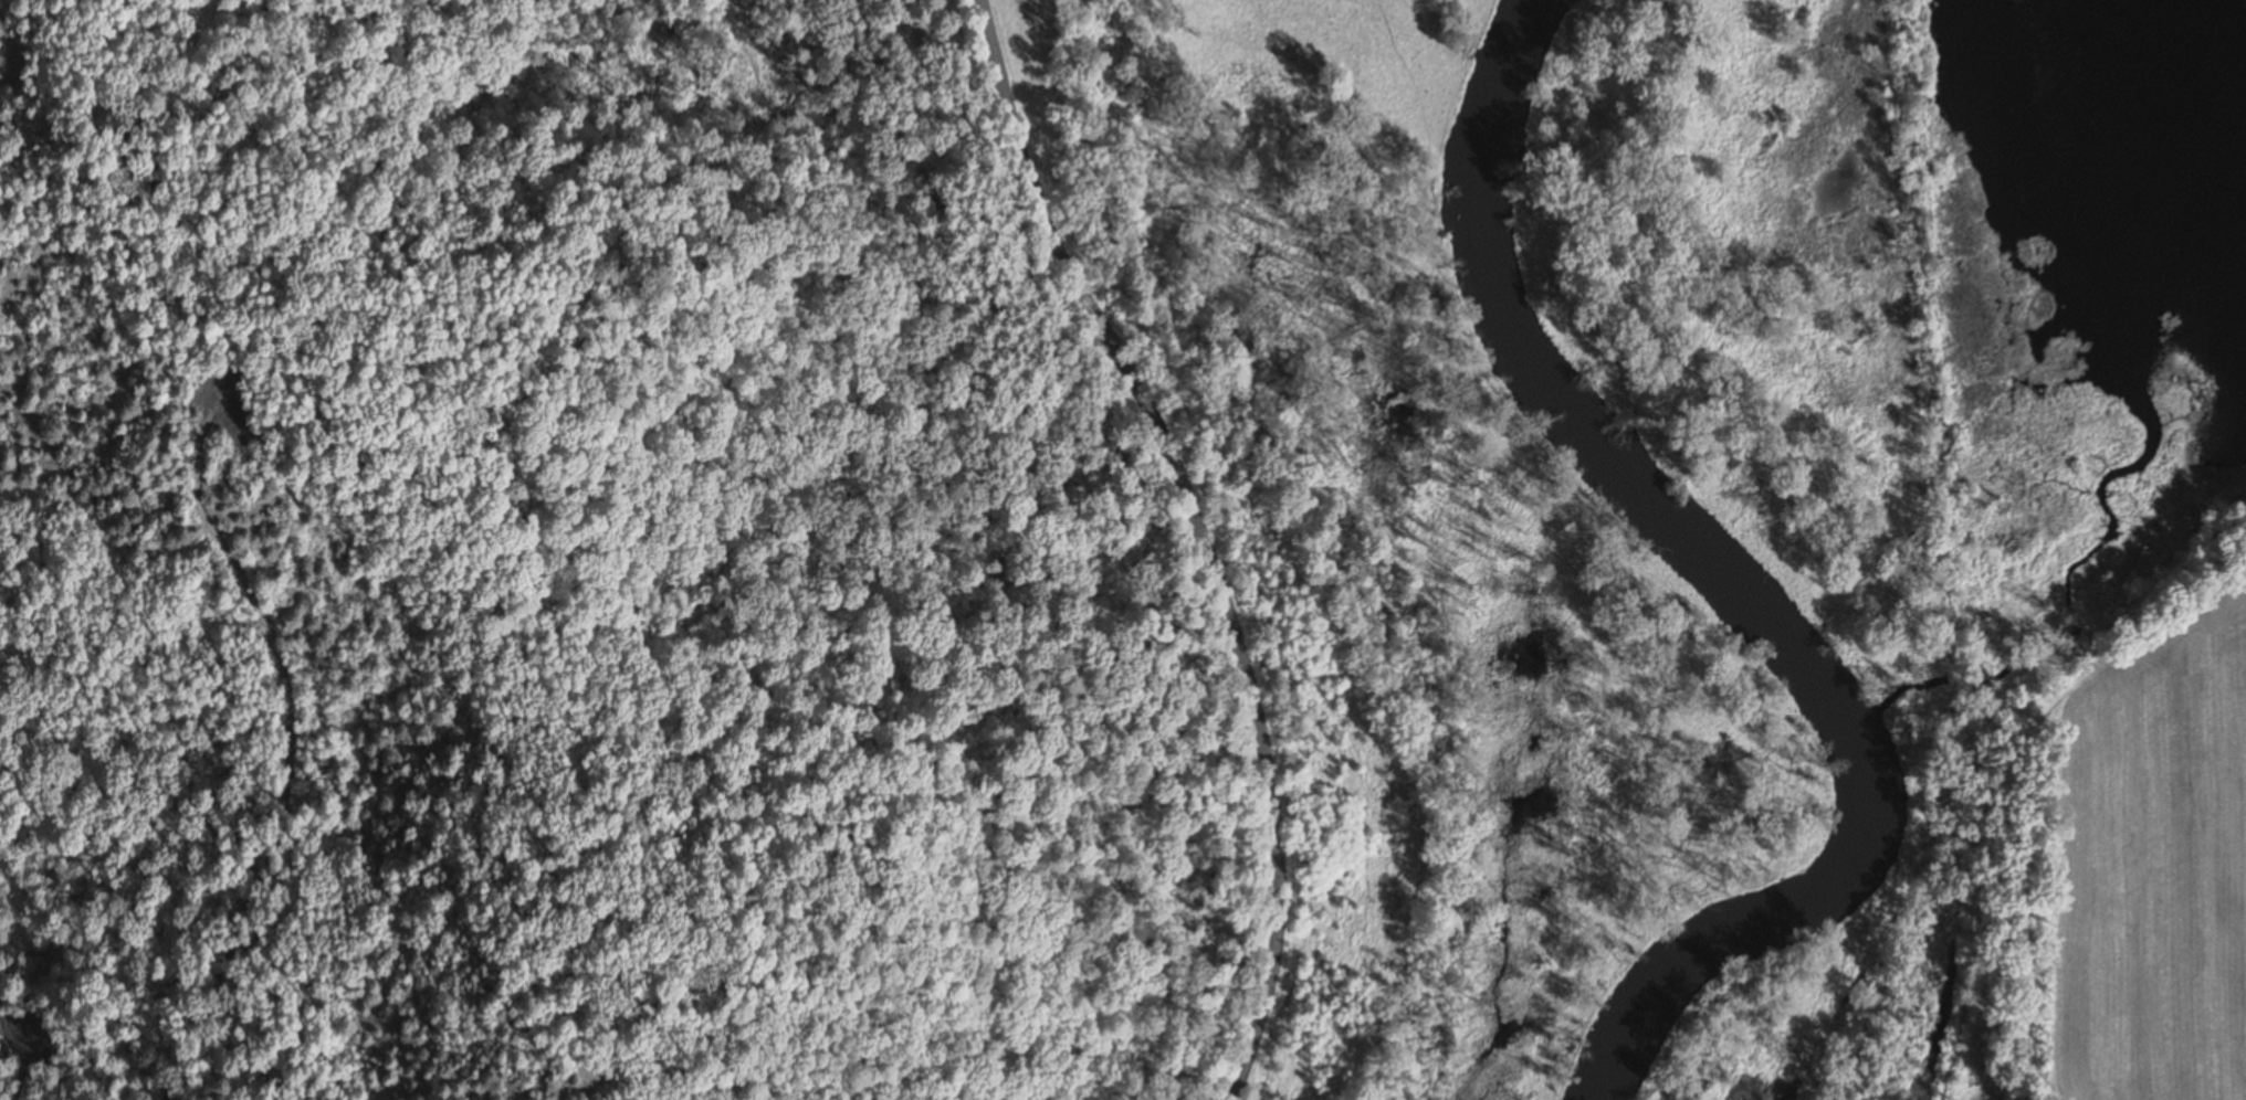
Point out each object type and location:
road: (1197, 535)
river: (1740, 585)
crop: (2144, 878)

